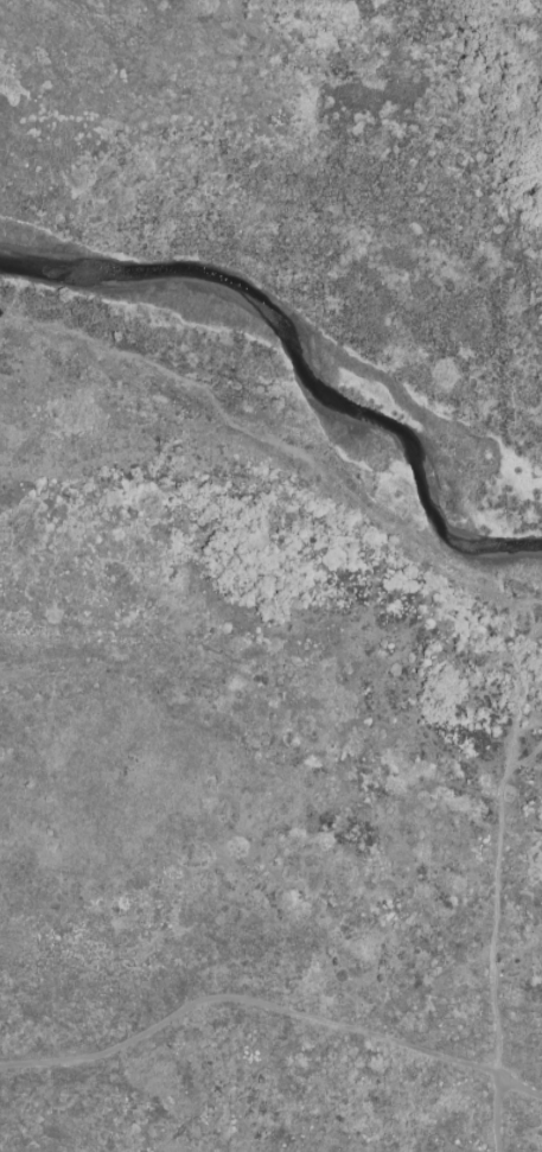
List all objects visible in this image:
river: (301, 359)
road: (270, 1008)
road: (498, 1115)

